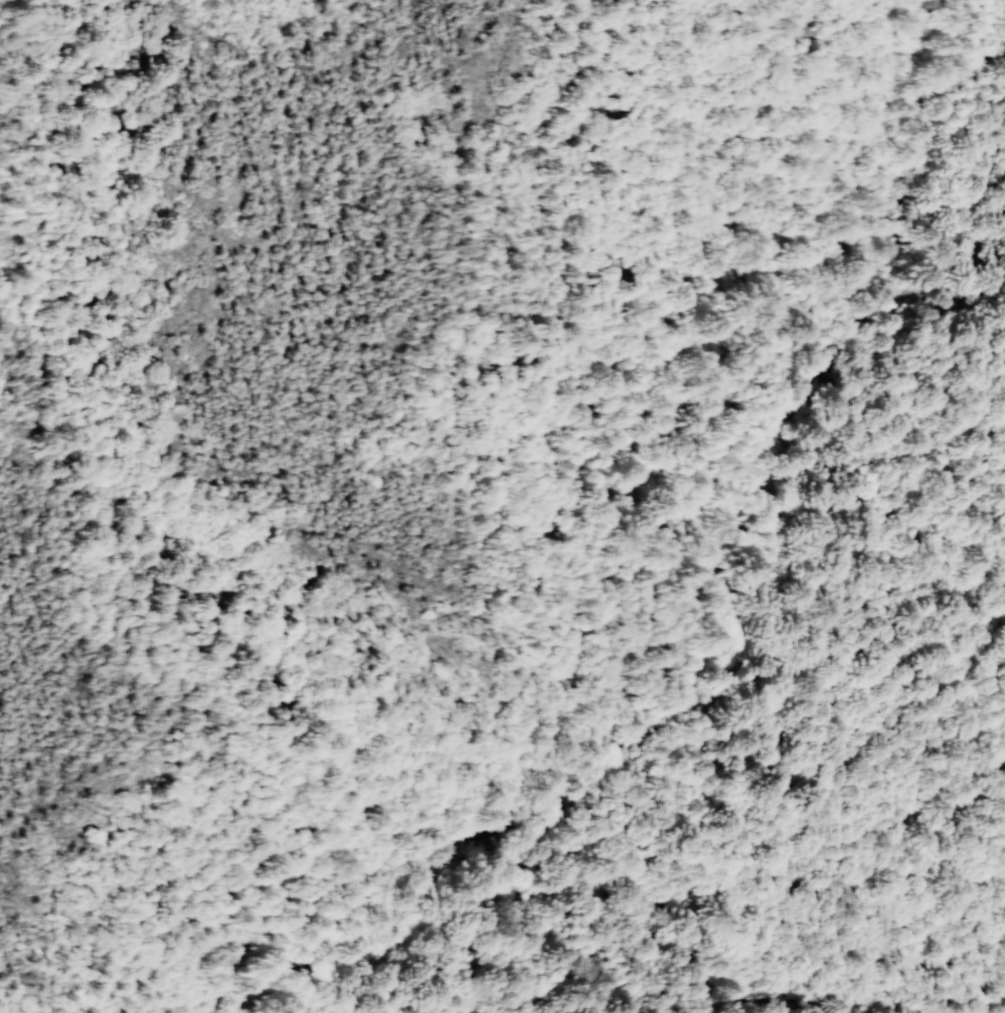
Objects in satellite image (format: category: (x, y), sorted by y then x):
road: (637, 512)

